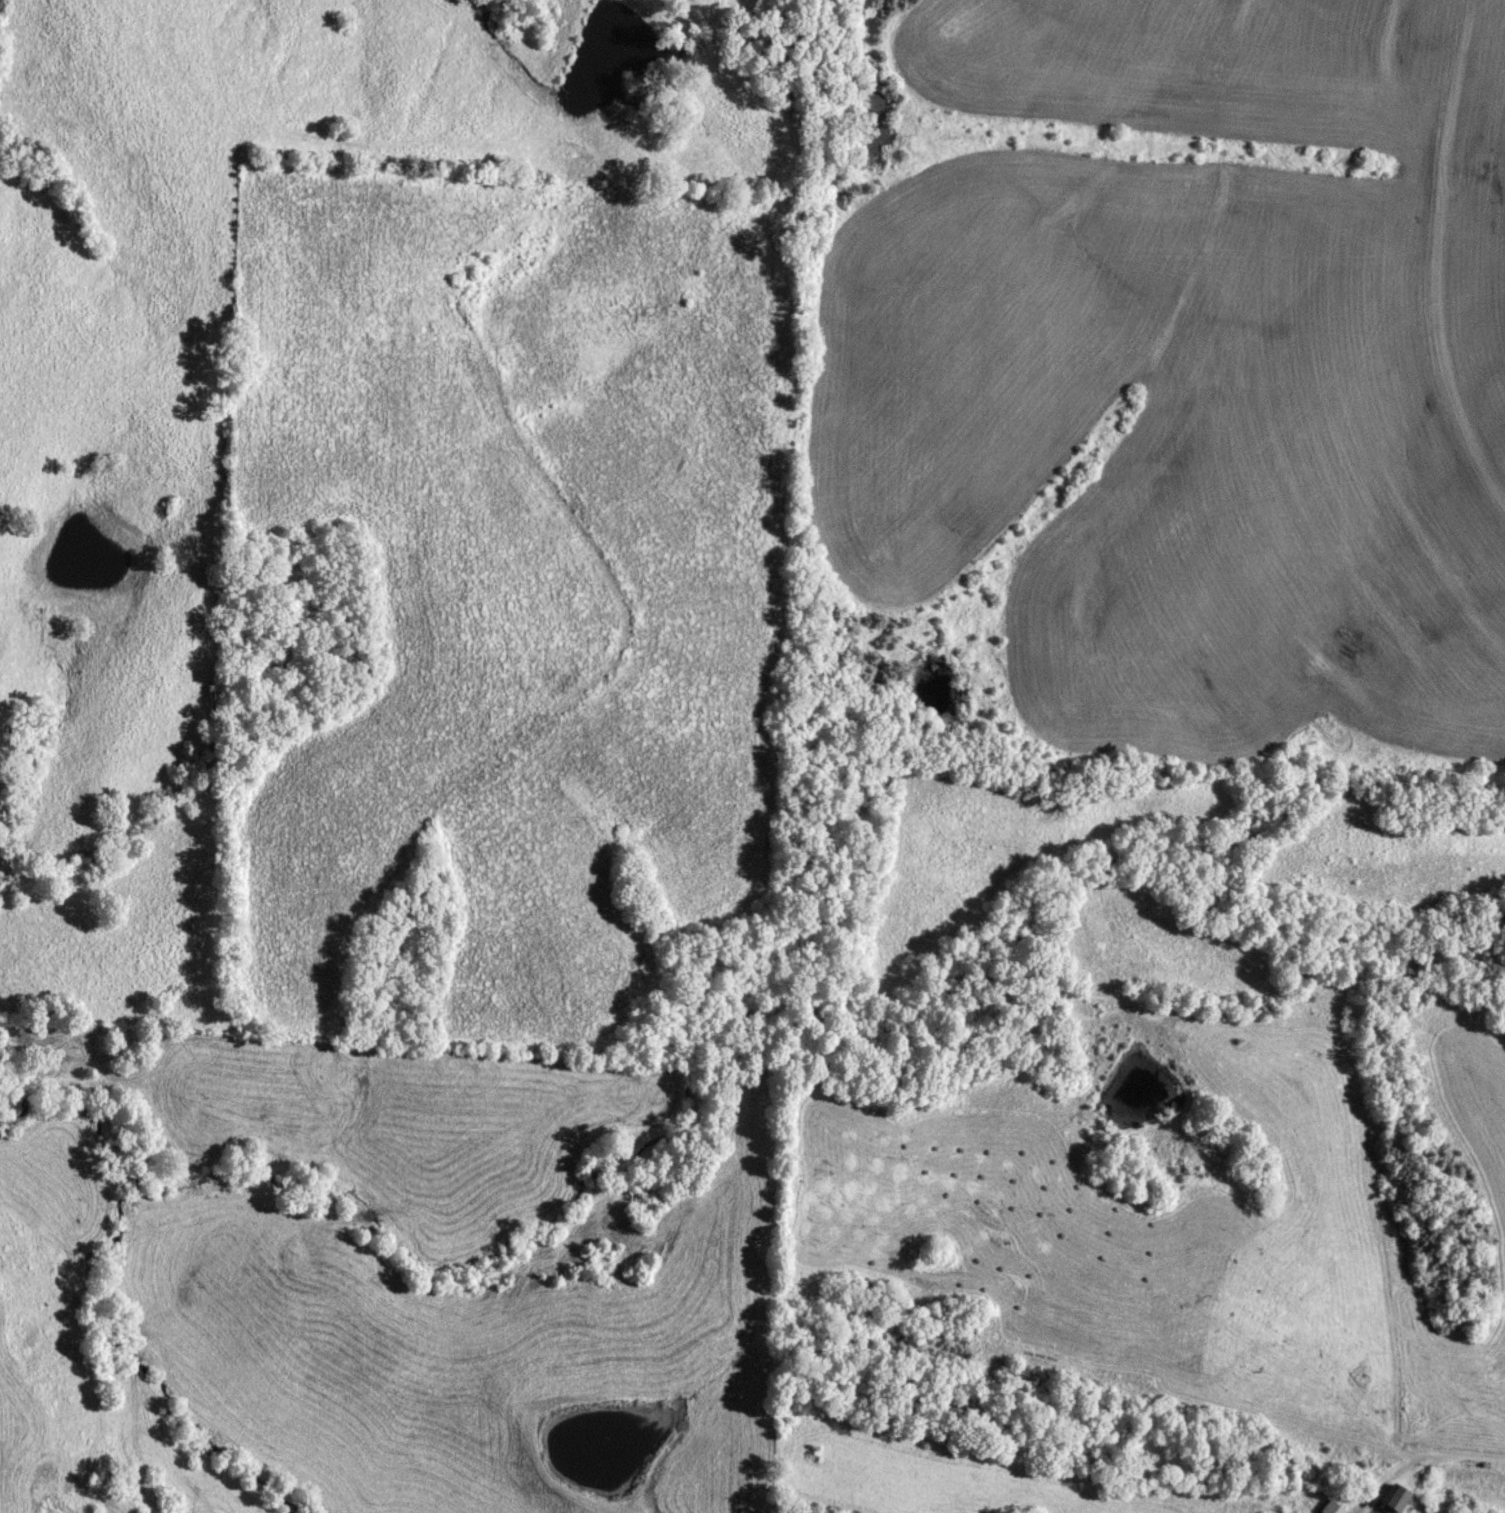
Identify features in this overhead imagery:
road: (1419, 1457)
building: (1391, 1499)

